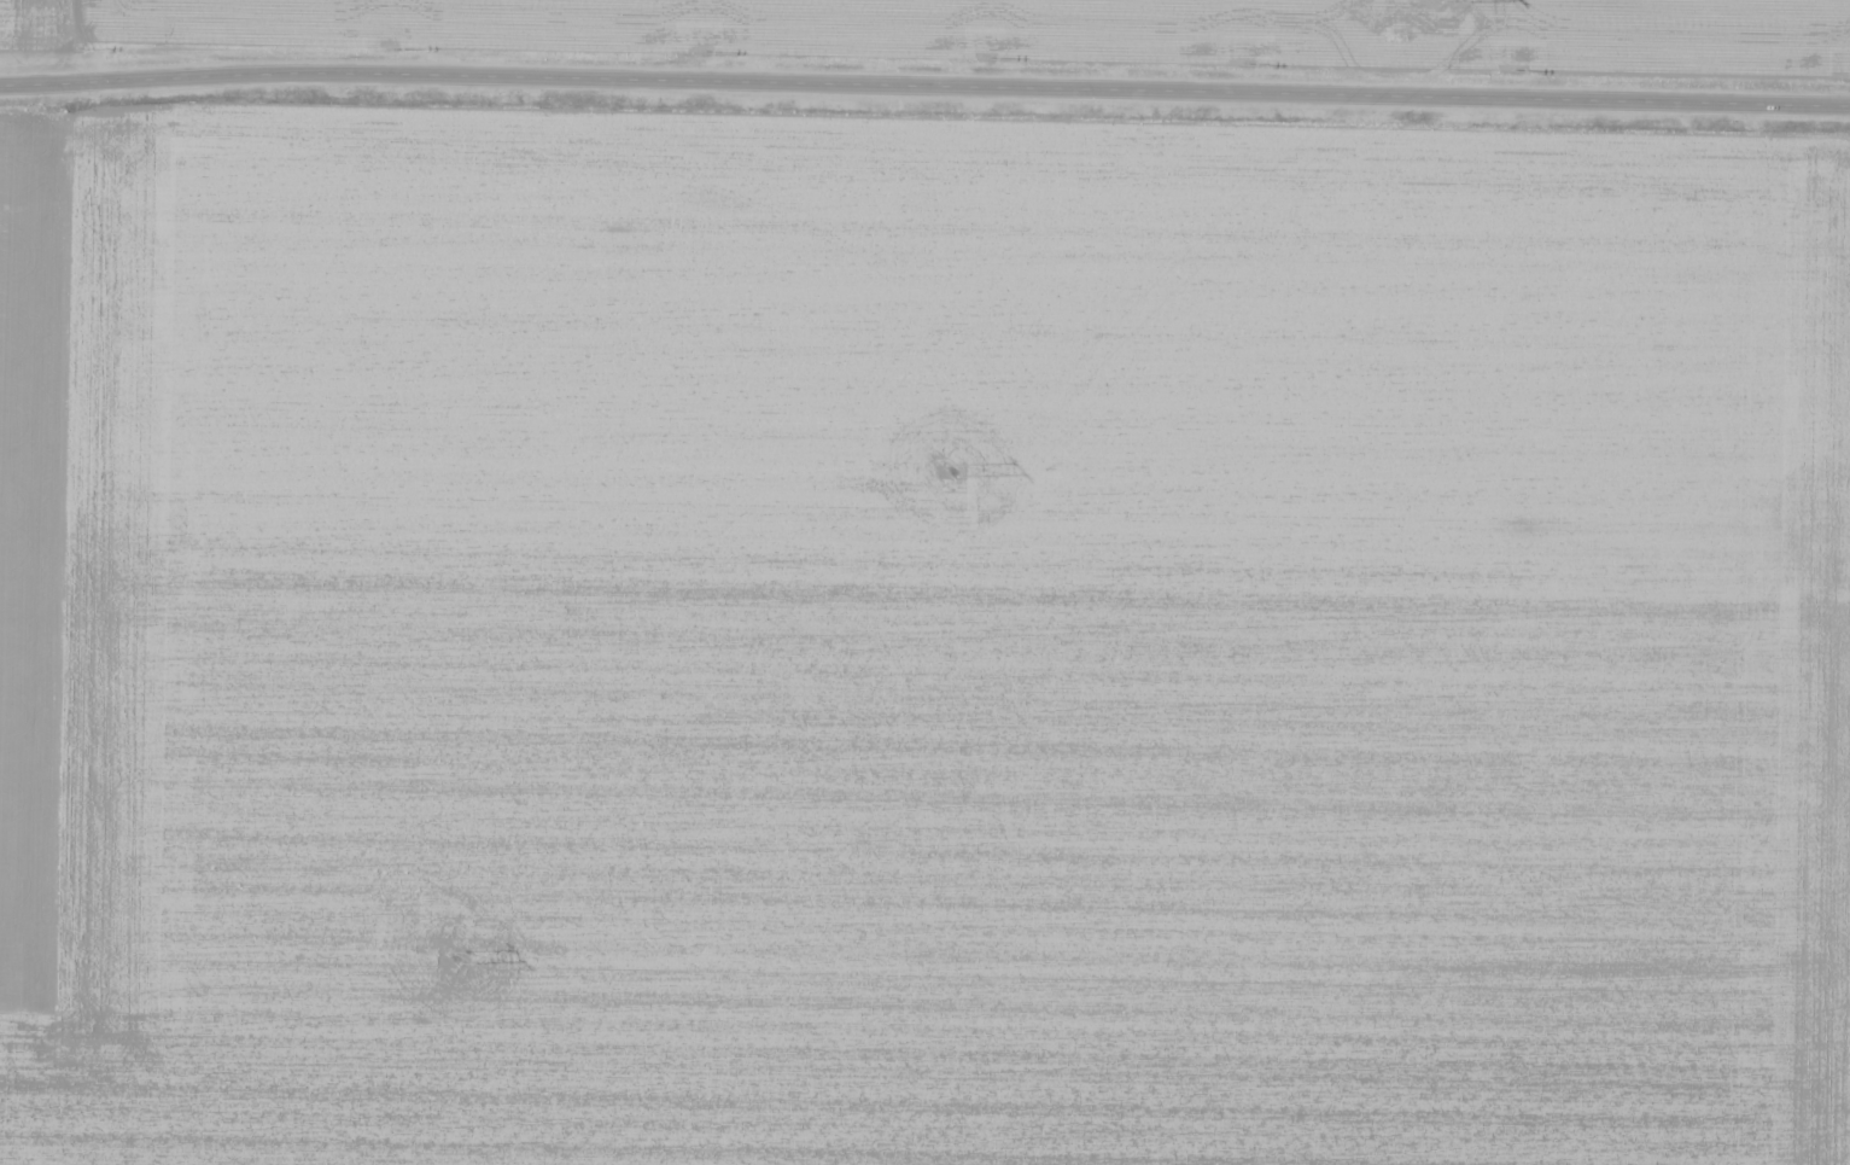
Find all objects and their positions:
road: (924, 83)
power tower: (958, 468)
power tower: (453, 956)

